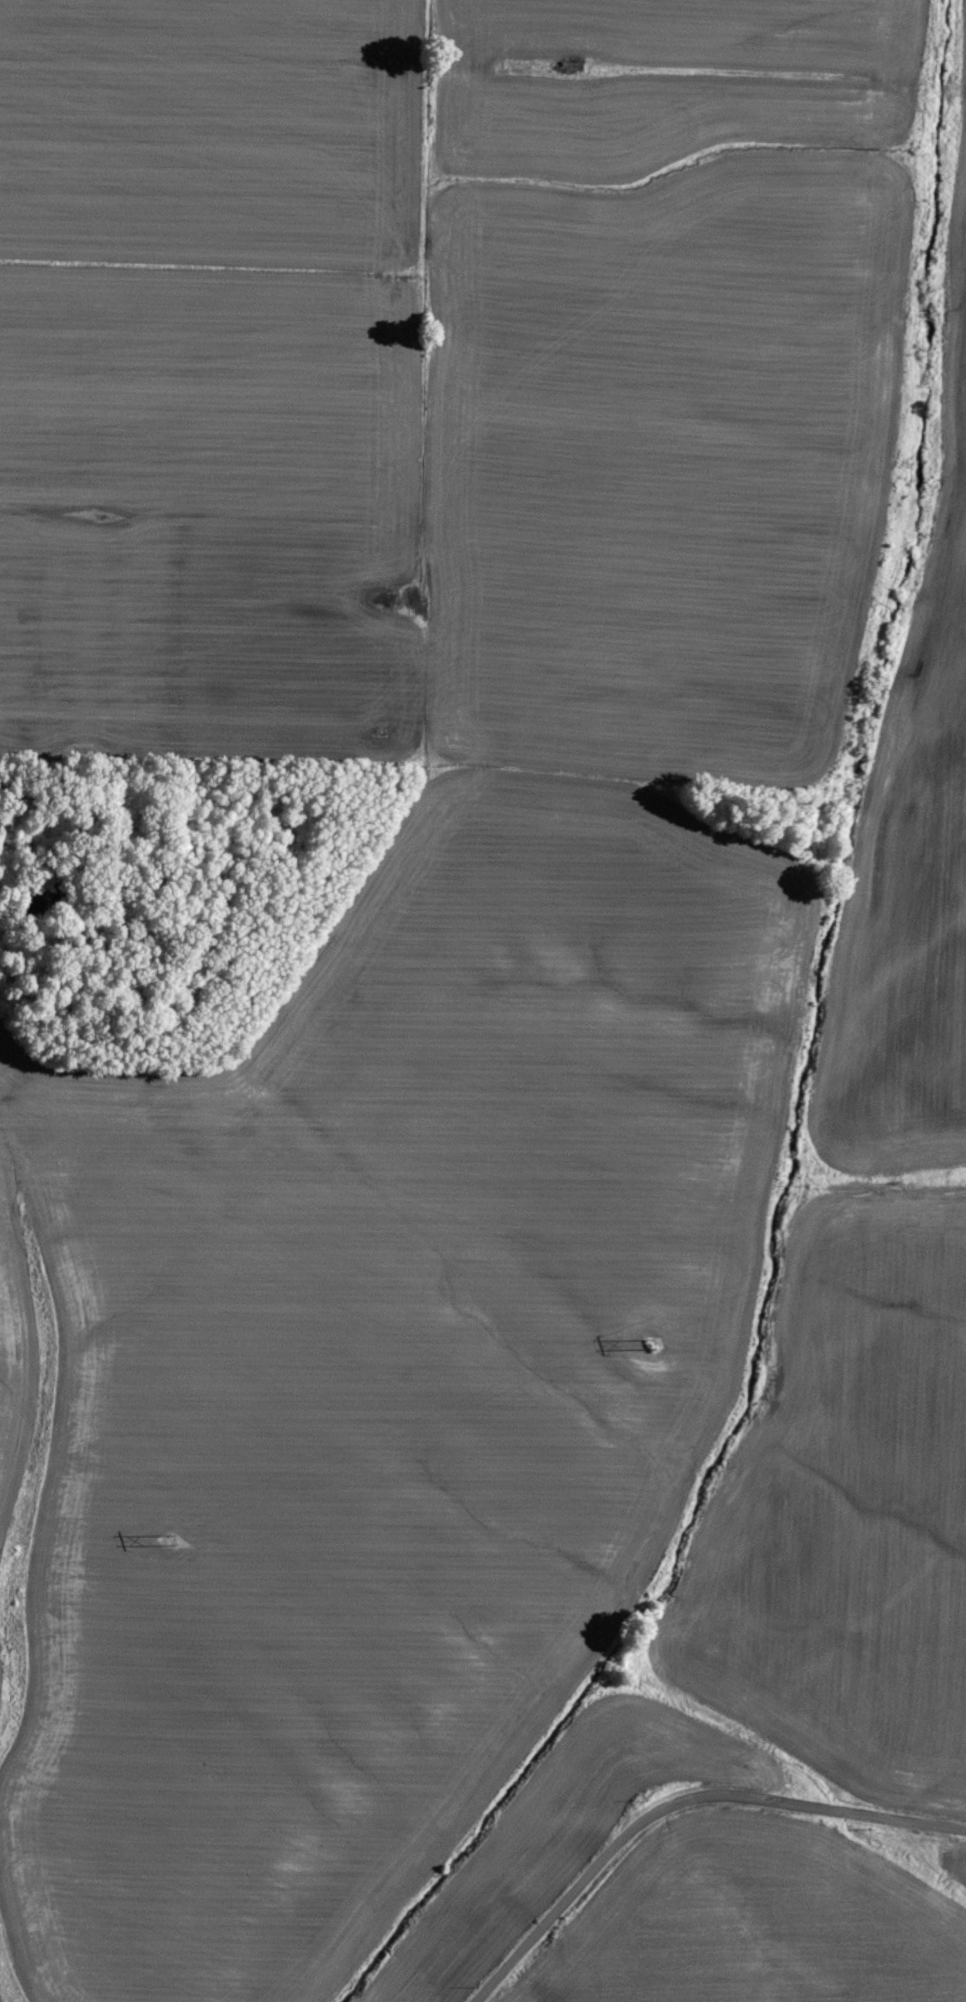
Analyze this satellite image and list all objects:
road: (680, 1802)

